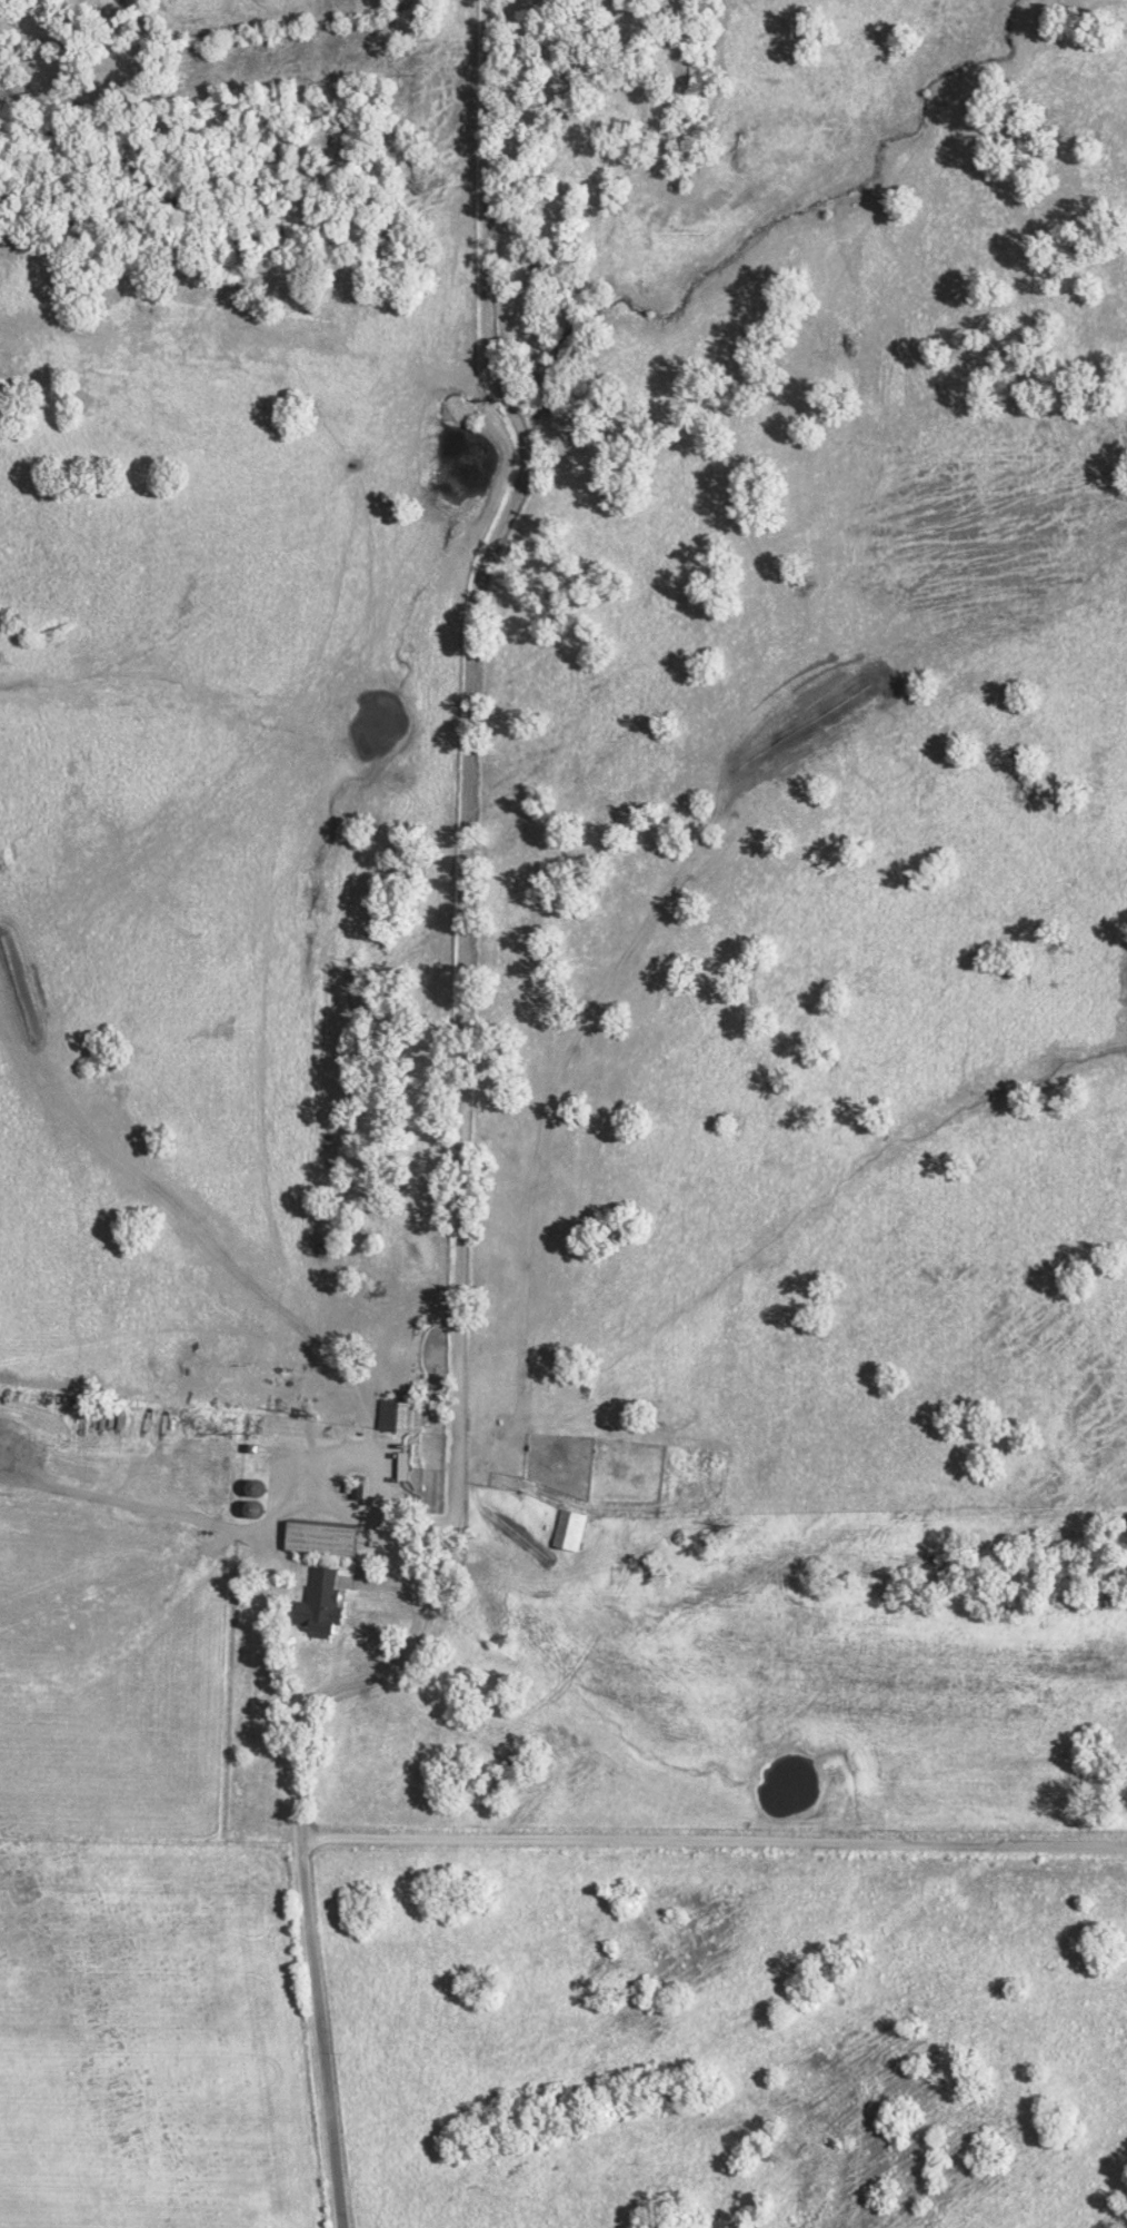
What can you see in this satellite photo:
road: (460, 1152)
building: (409, 1414)
building: (412, 1465)
building: (333, 1536)
building: (327, 1595)
road: (715, 1841)

